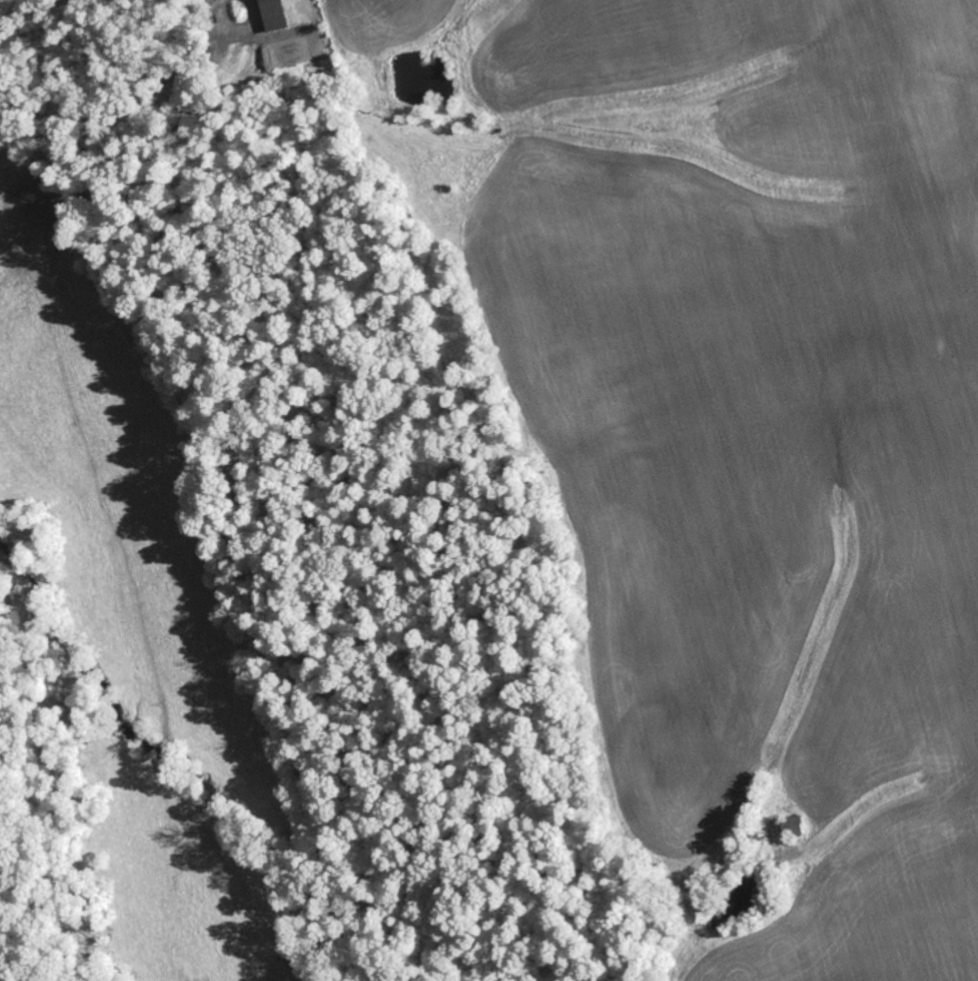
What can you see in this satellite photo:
building: (278, 15)
building: (797, 826)

